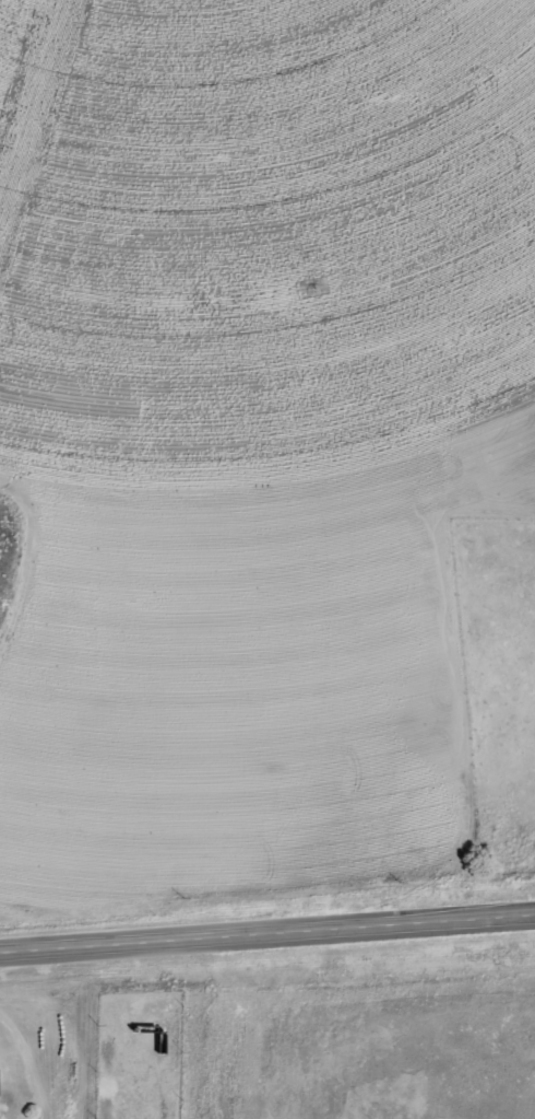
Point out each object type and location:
road: (267, 951)
road: (32, 1063)

